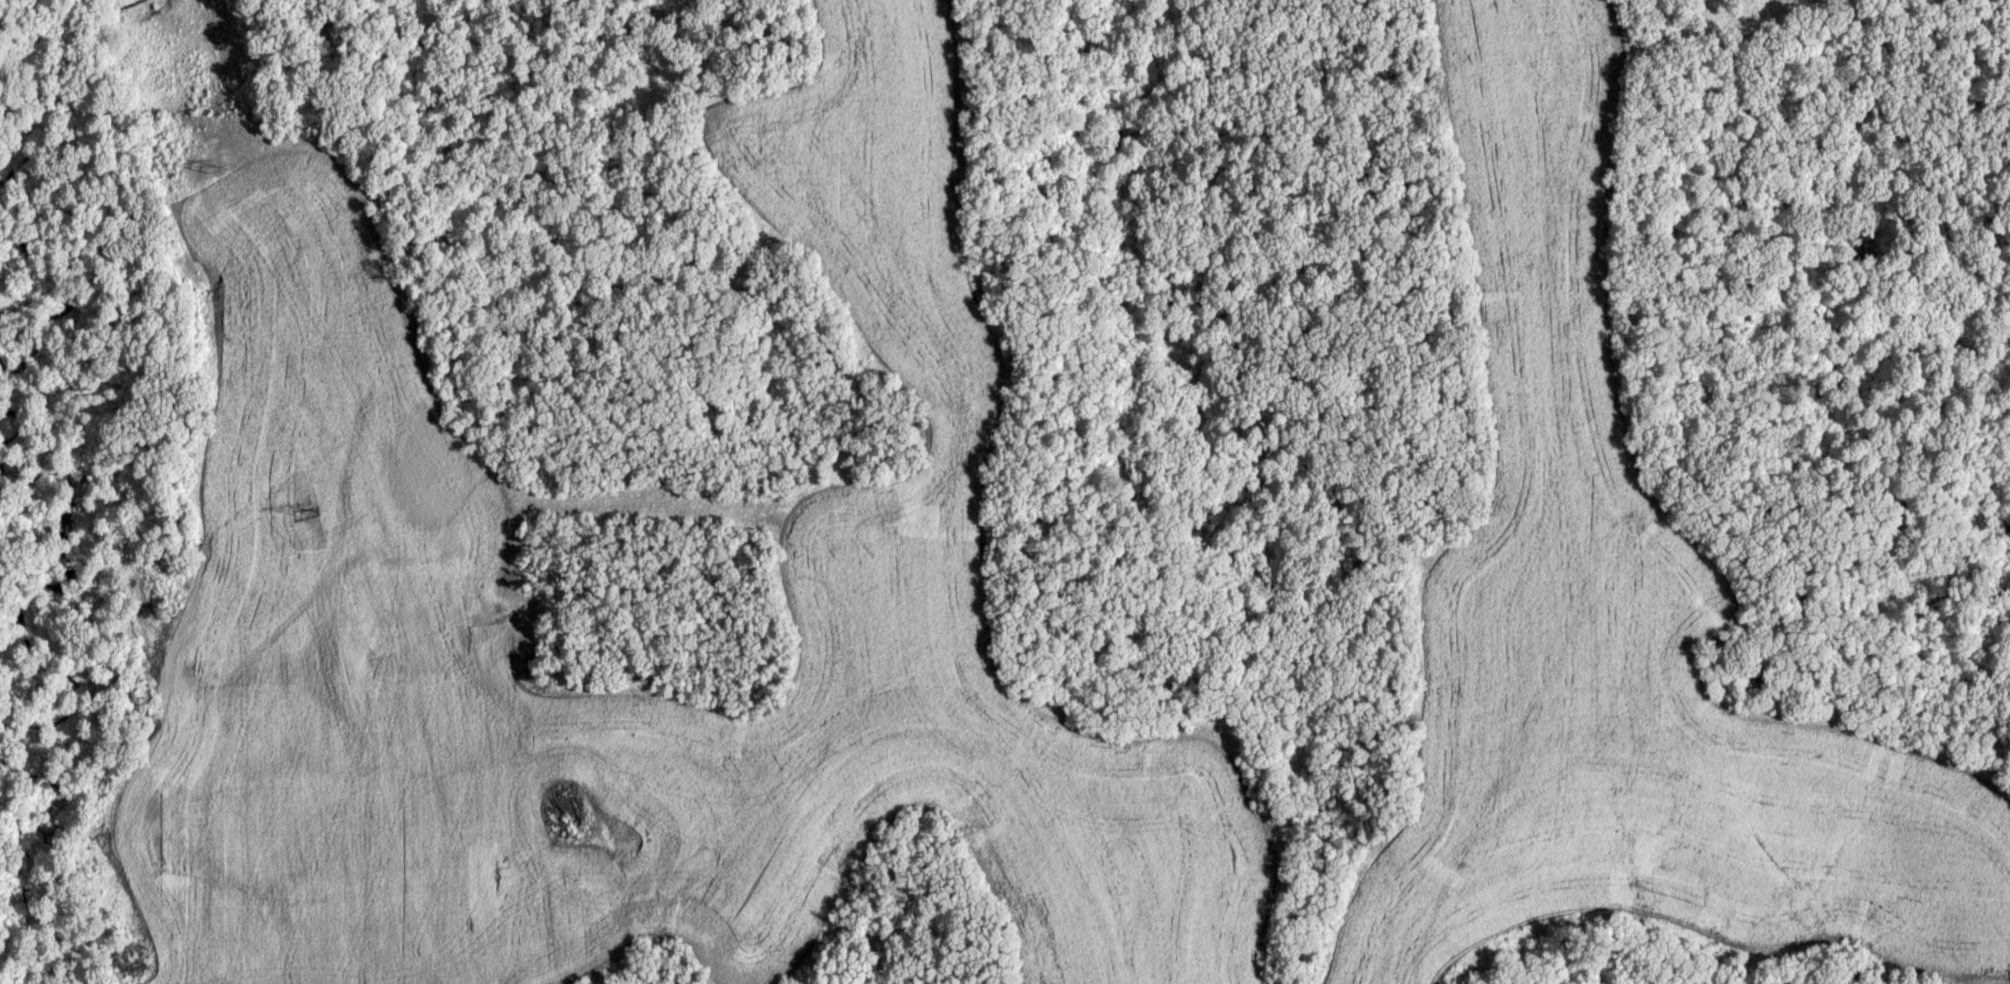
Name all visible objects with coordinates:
power tower: (213, 168)
power tower: (304, 511)

